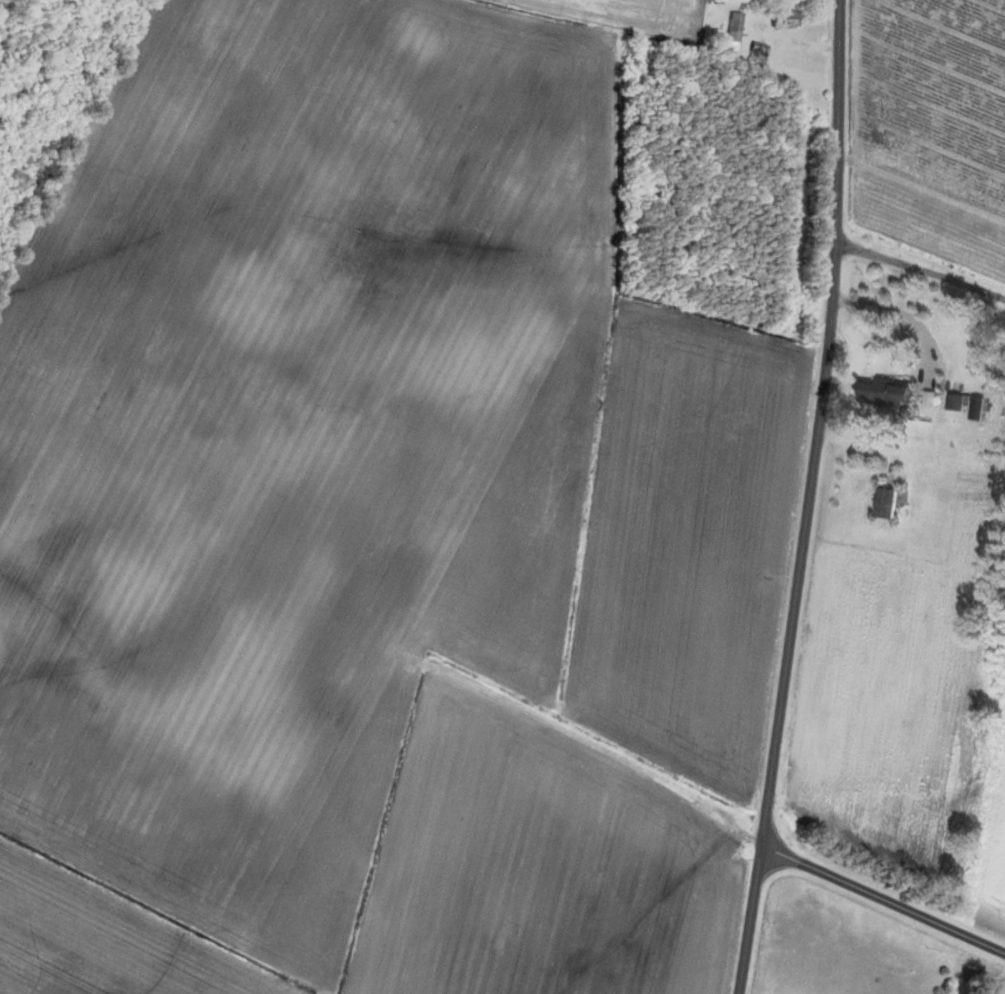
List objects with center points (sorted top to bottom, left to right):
building: (781, 18)
building: (731, 32)
building: (755, 54)
road: (919, 275)
building: (886, 392)
road: (807, 498)
building: (887, 502)
road: (882, 902)

